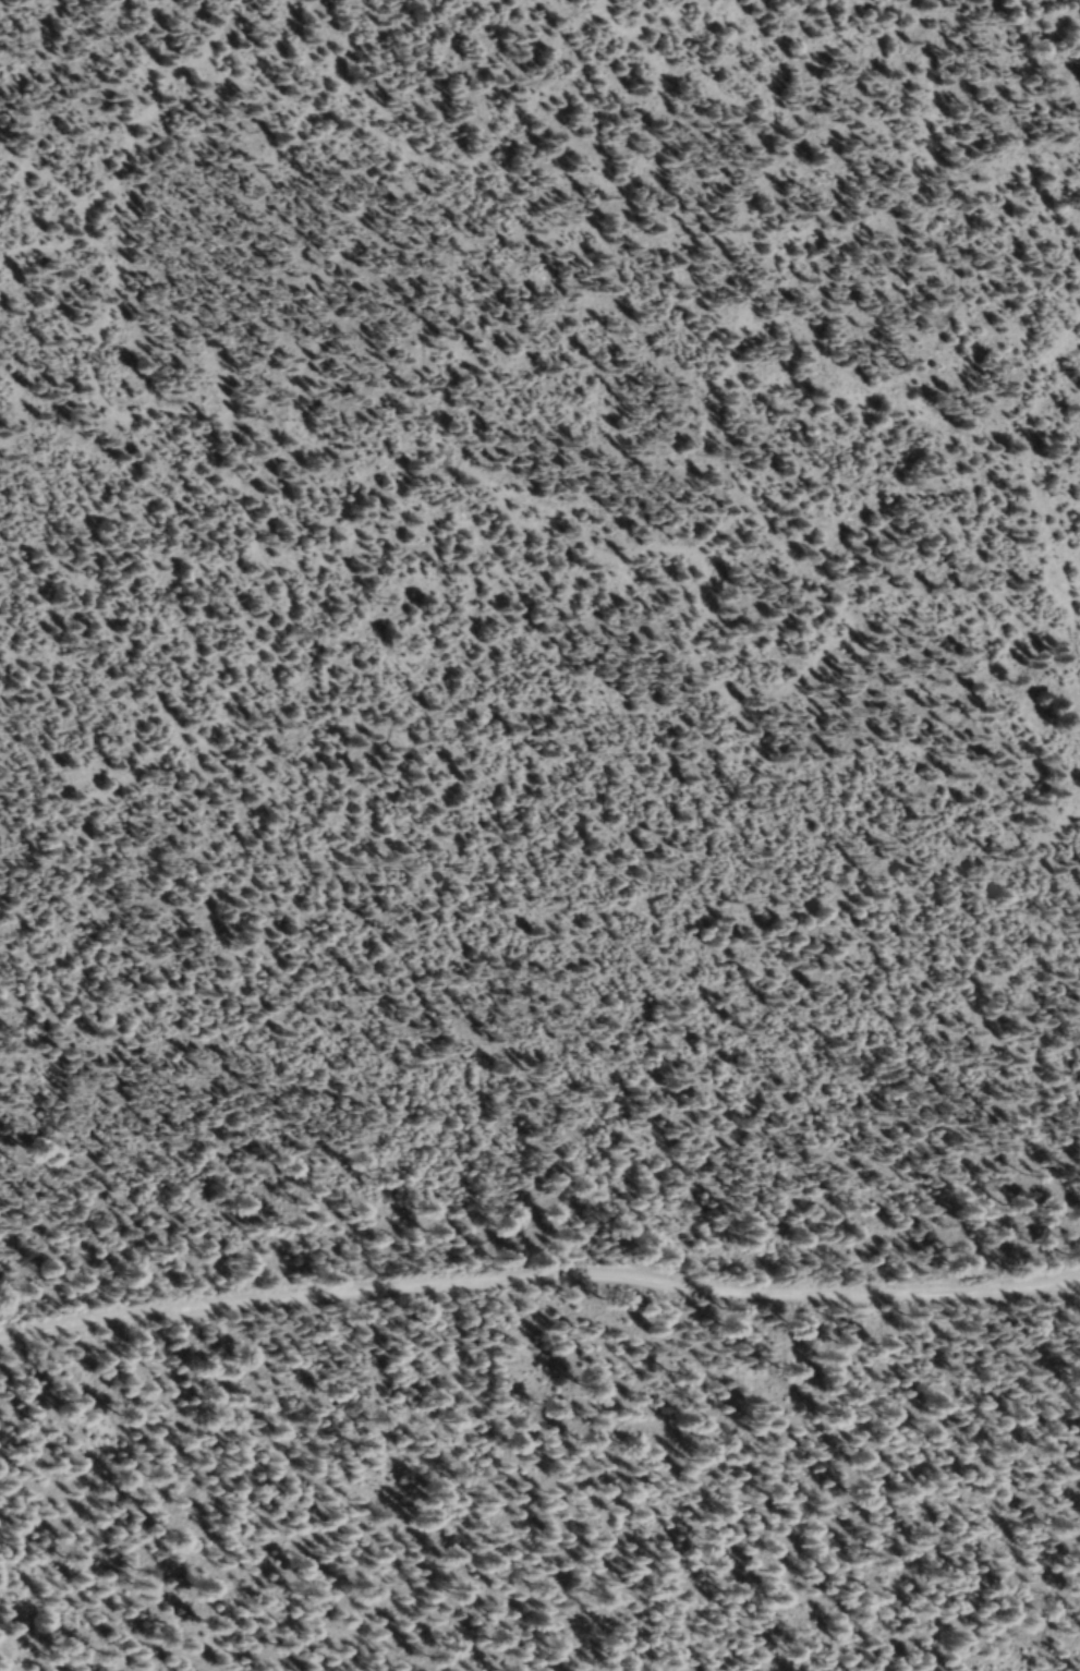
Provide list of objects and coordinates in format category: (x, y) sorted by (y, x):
road: (539, 1278)

